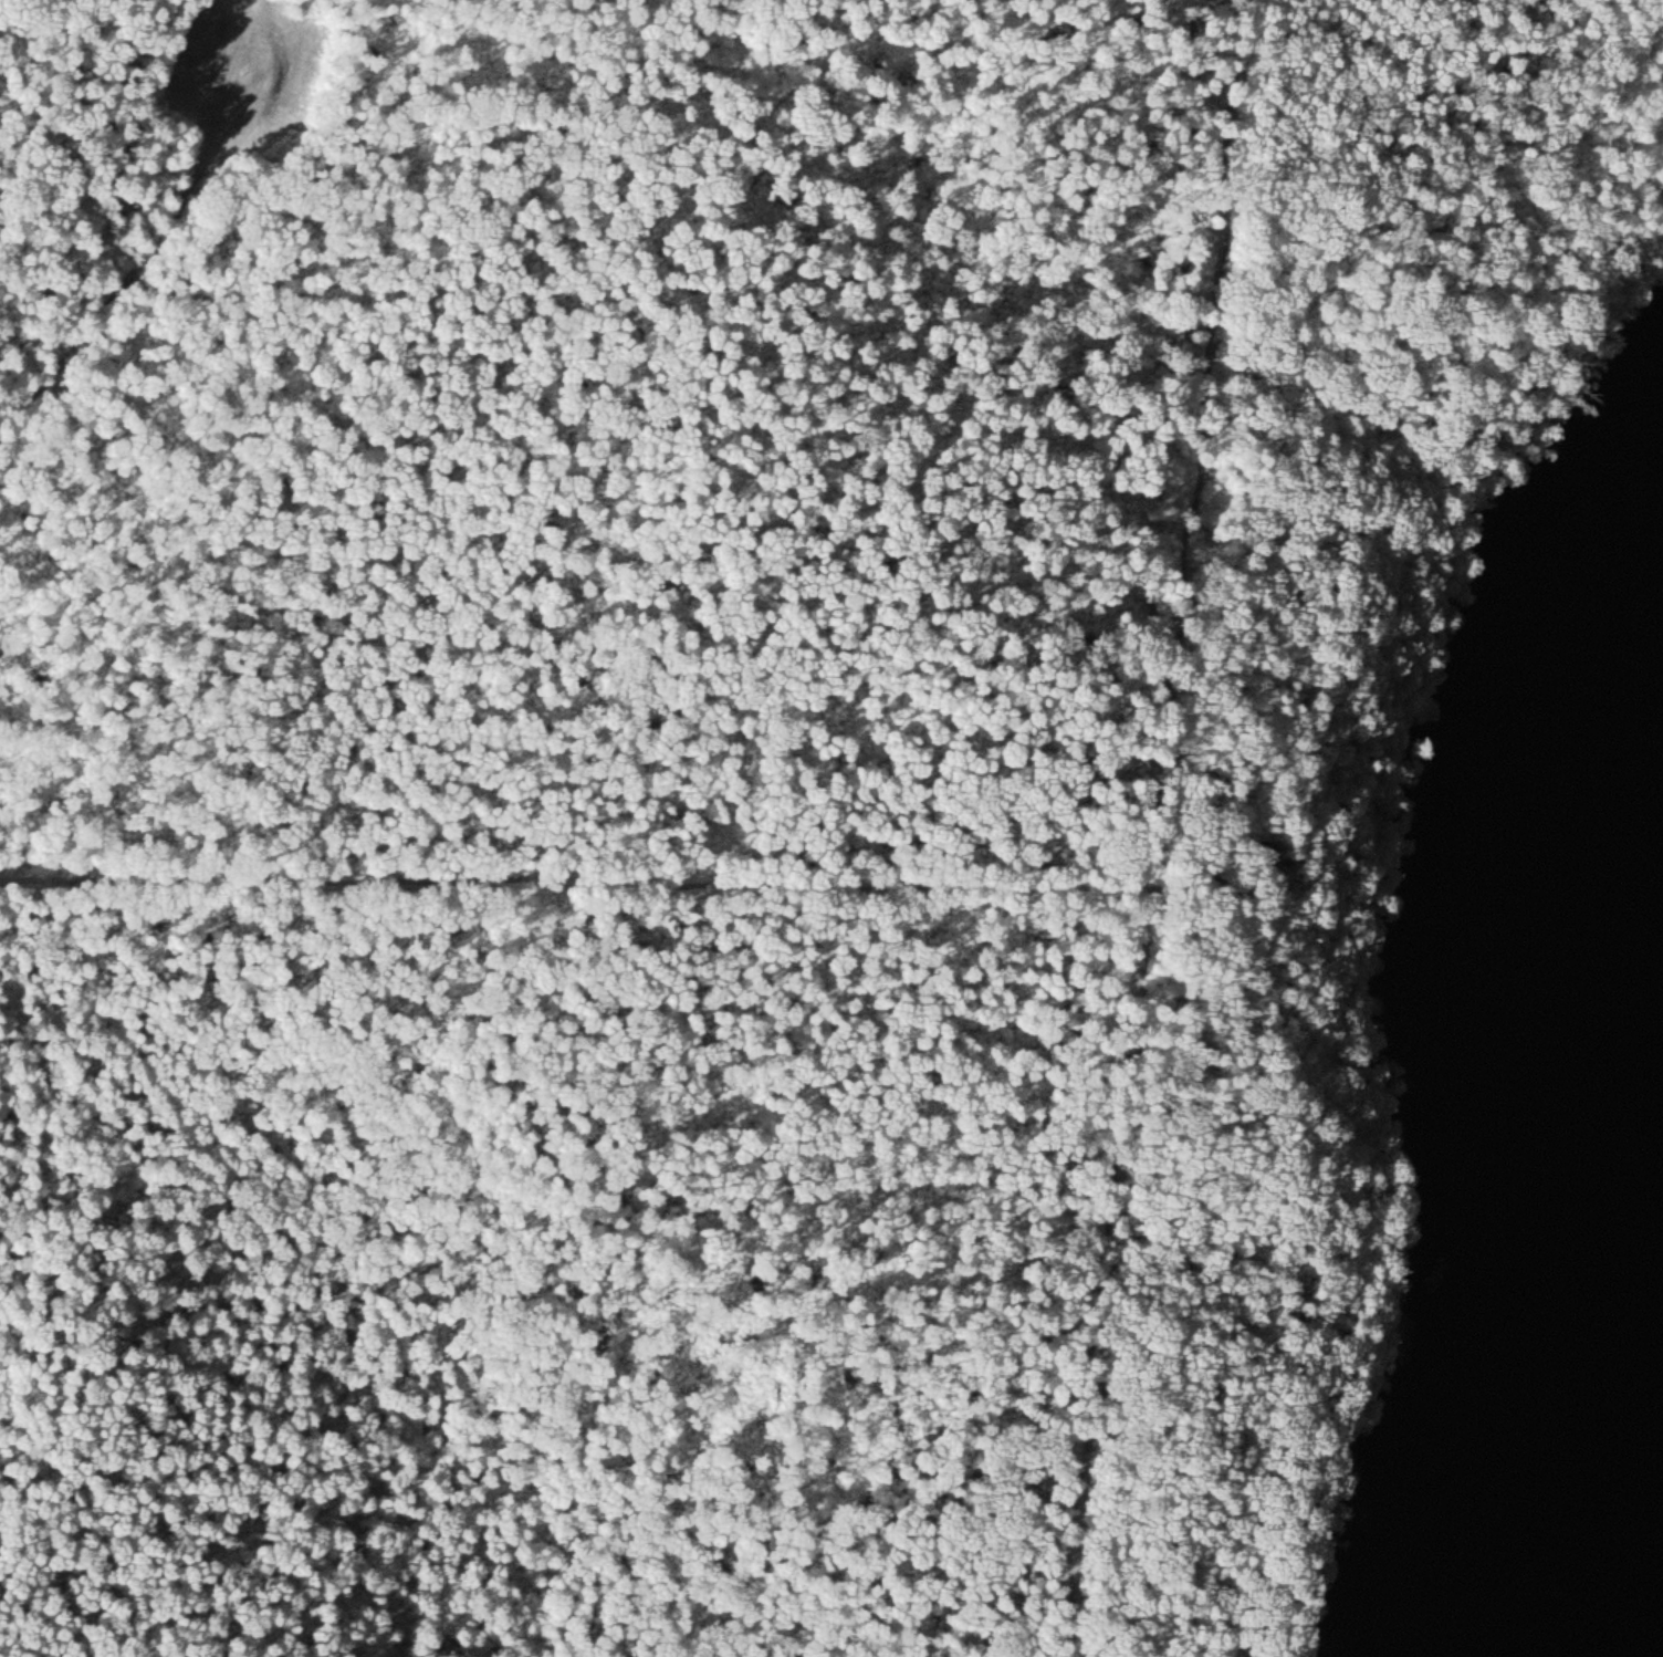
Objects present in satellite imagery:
road: (144, 268)
road: (308, 1249)
road: (689, 1509)

